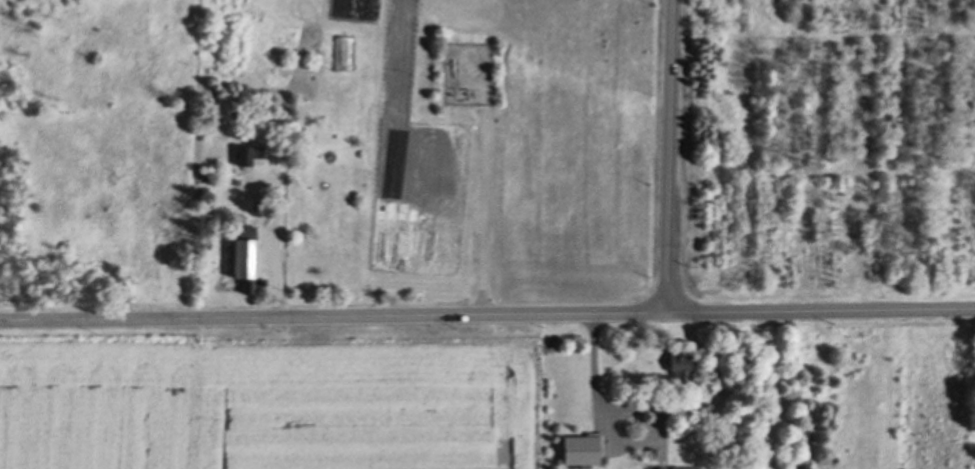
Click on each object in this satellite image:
crop: (382, 16)
building: (242, 155)
quarry: (102, 156)
road: (669, 157)
road: (484, 219)
building: (243, 261)
road: (487, 317)
building: (677, 364)
road: (592, 384)
crop: (269, 402)
building: (579, 449)
building: (679, 467)

